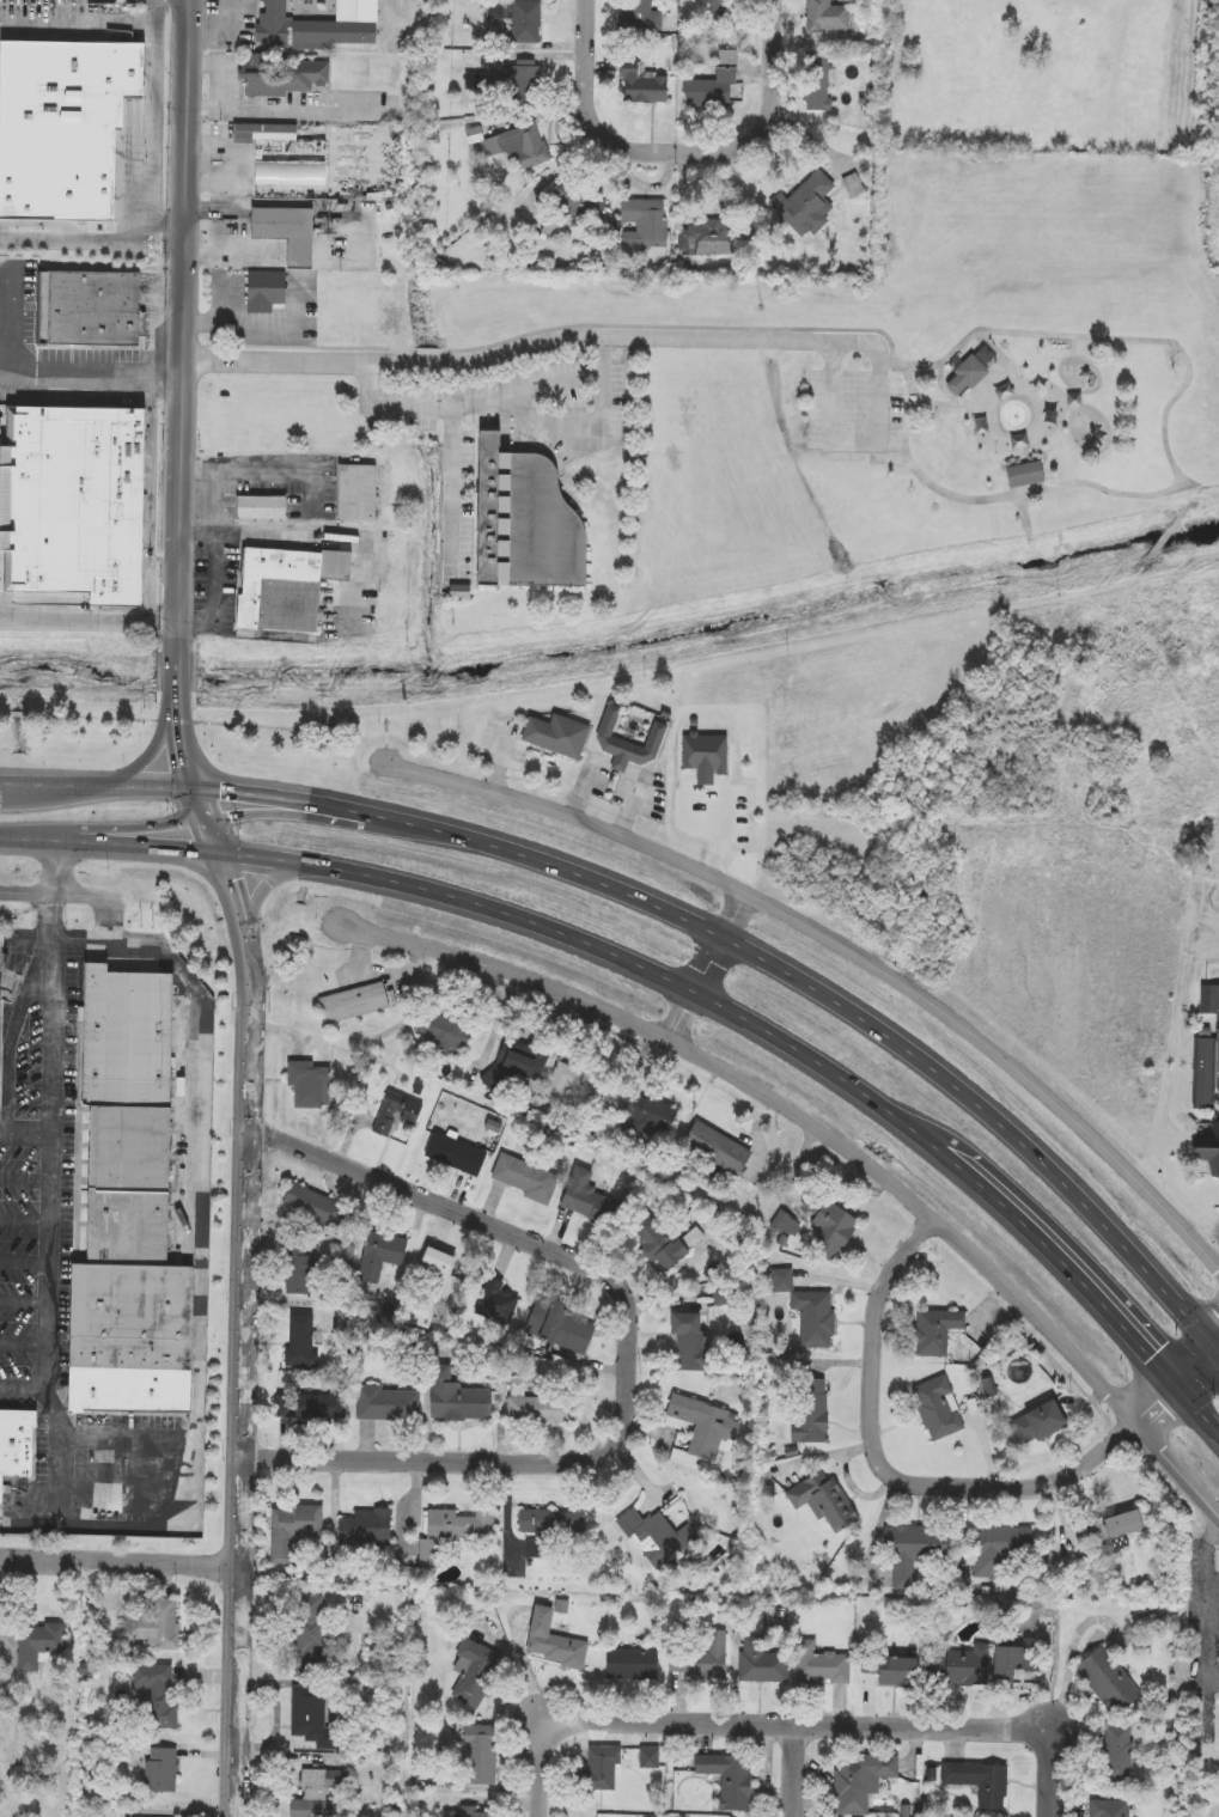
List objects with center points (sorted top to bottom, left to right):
road: (154, 14)
building: (644, 16)
building: (828, 16)
building: (517, 19)
building: (317, 25)
road: (156, 56)
road: (223, 74)
building: (284, 77)
building: (512, 79)
building: (712, 80)
building: (817, 84)
building: (640, 85)
road: (284, 114)
building: (66, 127)
building: (518, 147)
road: (682, 150)
building: (280, 156)
building: (803, 206)
building: (568, 208)
building: (641, 225)
building: (284, 232)
building: (705, 238)
road: (93, 240)
building: (263, 292)
building: (93, 310)
road: (7, 313)
road: (240, 318)
road: (185, 323)
road: (682, 327)
road: (542, 341)
park: (1047, 343)
road: (310, 347)
road: (433, 350)
road: (607, 352)
road: (902, 364)
road: (91, 372)
building: (964, 377)
road: (1190, 378)
road: (465, 407)
parking lot: (857, 410)
parking lot: (513, 411)
road: (580, 429)
road: (845, 437)
road: (279, 469)
building: (1022, 475)
road: (452, 492)
building: (364, 493)
building: (75, 500)
road: (220, 501)
road: (1187, 504)
building: (268, 508)
building: (529, 522)
road: (246, 533)
road: (1166, 537)
road: (371, 562)
road: (1141, 569)
building: (294, 589)
road: (220, 597)
road: (89, 621)
road: (709, 667)
road: (181, 673)
road: (2, 713)
road: (22, 714)
road: (98, 718)
road: (177, 721)
road: (389, 725)
building: (555, 737)
road: (389, 738)
building: (626, 744)
parking lot: (504, 749)
road: (389, 751)
road: (153, 754)
road: (504, 756)
building: (702, 757)
road: (620, 766)
road: (707, 779)
traffic signals: (195, 785)
road: (585, 791)
parking lot: (634, 793)
road: (632, 807)
parking lot: (724, 812)
road: (688, 824)
road: (727, 830)
traffic signals: (218, 847)
road: (269, 885)
road: (74, 895)
road: (678, 913)
road: (843, 938)
road: (708, 963)
road: (679, 981)
building: (353, 1002)
building: (443, 1031)
building: (1, 1032)
road: (17, 1036)
building: (135, 1039)
building: (1207, 1055)
building: (511, 1068)
building: (307, 1085)
building: (578, 1086)
road: (782, 1105)
building: (394, 1114)
building: (648, 1116)
road: (25, 1134)
road: (53, 1138)
building: (714, 1148)
building: (138, 1150)
building: (453, 1154)
building: (1214, 1158)
road: (26, 1176)
building: (524, 1178)
building: (584, 1199)
building: (316, 1208)
road: (25, 1215)
building: (136, 1230)
building: (828, 1231)
building: (694, 1237)
building: (658, 1246)
road: (245, 1254)
road: (25, 1260)
road: (206, 1261)
building: (378, 1261)
parking lot: (60, 1263)
building: (300, 1272)
building: (444, 1275)
road: (24, 1301)
building: (495, 1301)
building: (807, 1312)
building: (559, 1327)
building: (937, 1330)
building: (139, 1340)
building: (301, 1341)
road: (24, 1342)
building: (684, 1342)
road: (629, 1349)
traffic signals: (1184, 1385)
road: (1178, 1389)
building: (456, 1397)
building: (809, 1402)
building: (388, 1404)
building: (310, 1407)
building: (937, 1409)
building: (540, 1410)
building: (1035, 1422)
building: (700, 1426)
building: (20, 1444)
road: (62, 1456)
road: (166, 1462)
road: (889, 1463)
road: (1178, 1467)
building: (822, 1502)
building: (1111, 1526)
building: (292, 1528)
building: (365, 1528)
building: (548, 1529)
building: (451, 1531)
building: (656, 1537)
building: (1000, 1548)
building: (912, 1551)
road: (120, 1562)
road: (1209, 1602)
building: (161, 1624)
building: (307, 1634)
building: (550, 1641)
building: (37, 1644)
building: (707, 1658)
building: (1017, 1660)
building: (630, 1664)
building: (819, 1664)
building: (763, 1666)
building: (961, 1666)
building: (889, 1670)
building: (471, 1671)
building: (1107, 1679)
building: (156, 1694)
building: (310, 1715)
road: (828, 1726)
building: (1214, 1726)
road: (544, 1750)
building: (1119, 1754)
building: (475, 1755)
building: (648, 1757)
building: (601, 1768)
building: (158, 1769)
road: (797, 1772)
building: (726, 1778)
building: (859, 1780)
building: (979, 1781)
road: (1050, 1784)
building: (316, 1792)
building: (1114, 1807)
building: (469, 1811)
road: (523, 1812)

